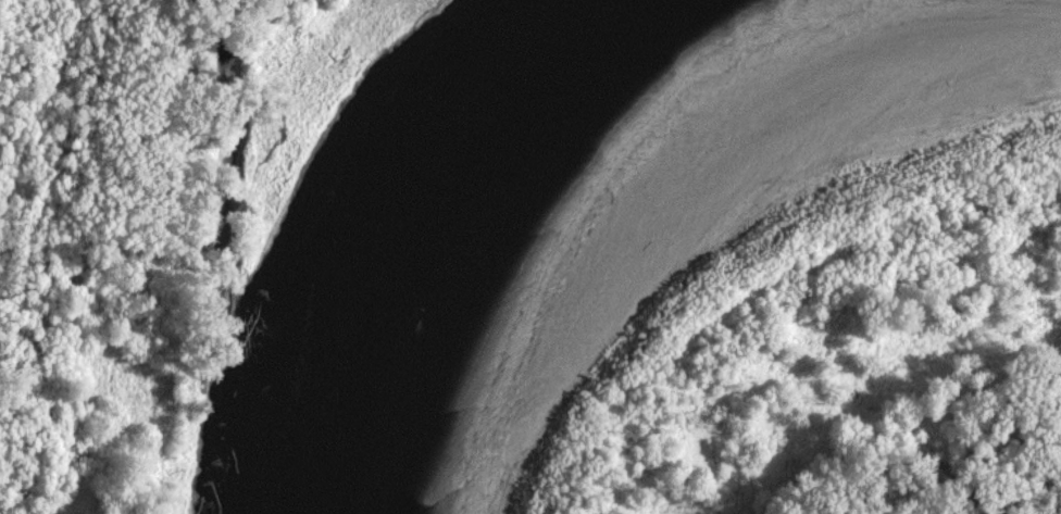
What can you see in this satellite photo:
river: (497, 178)

